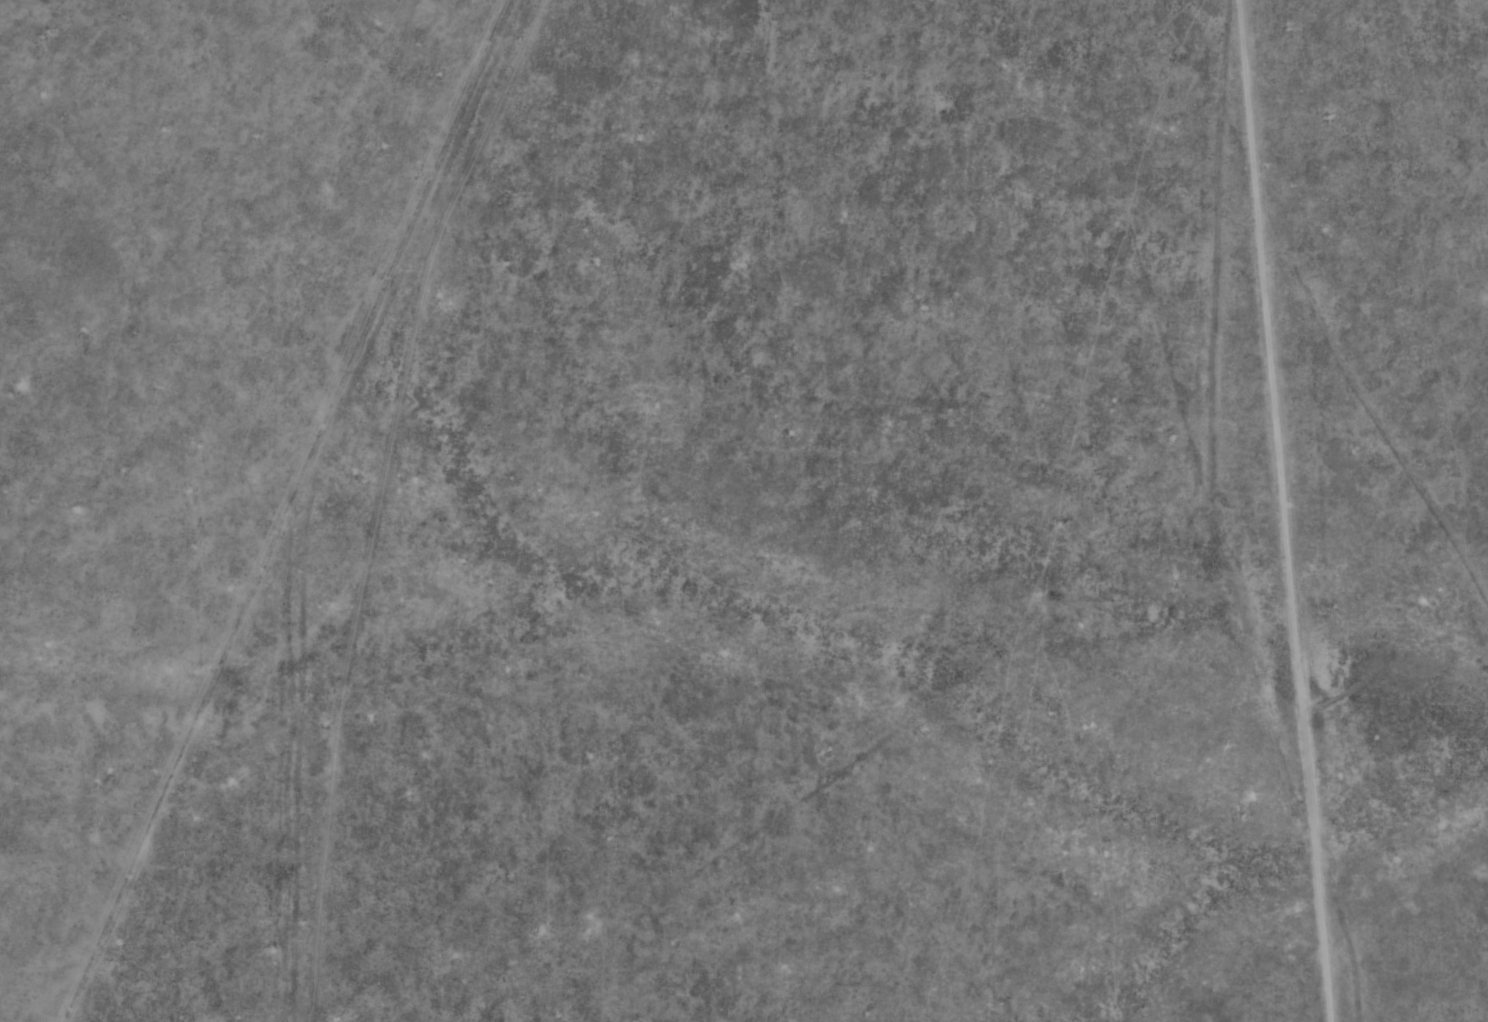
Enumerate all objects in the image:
road: (1285, 511)

